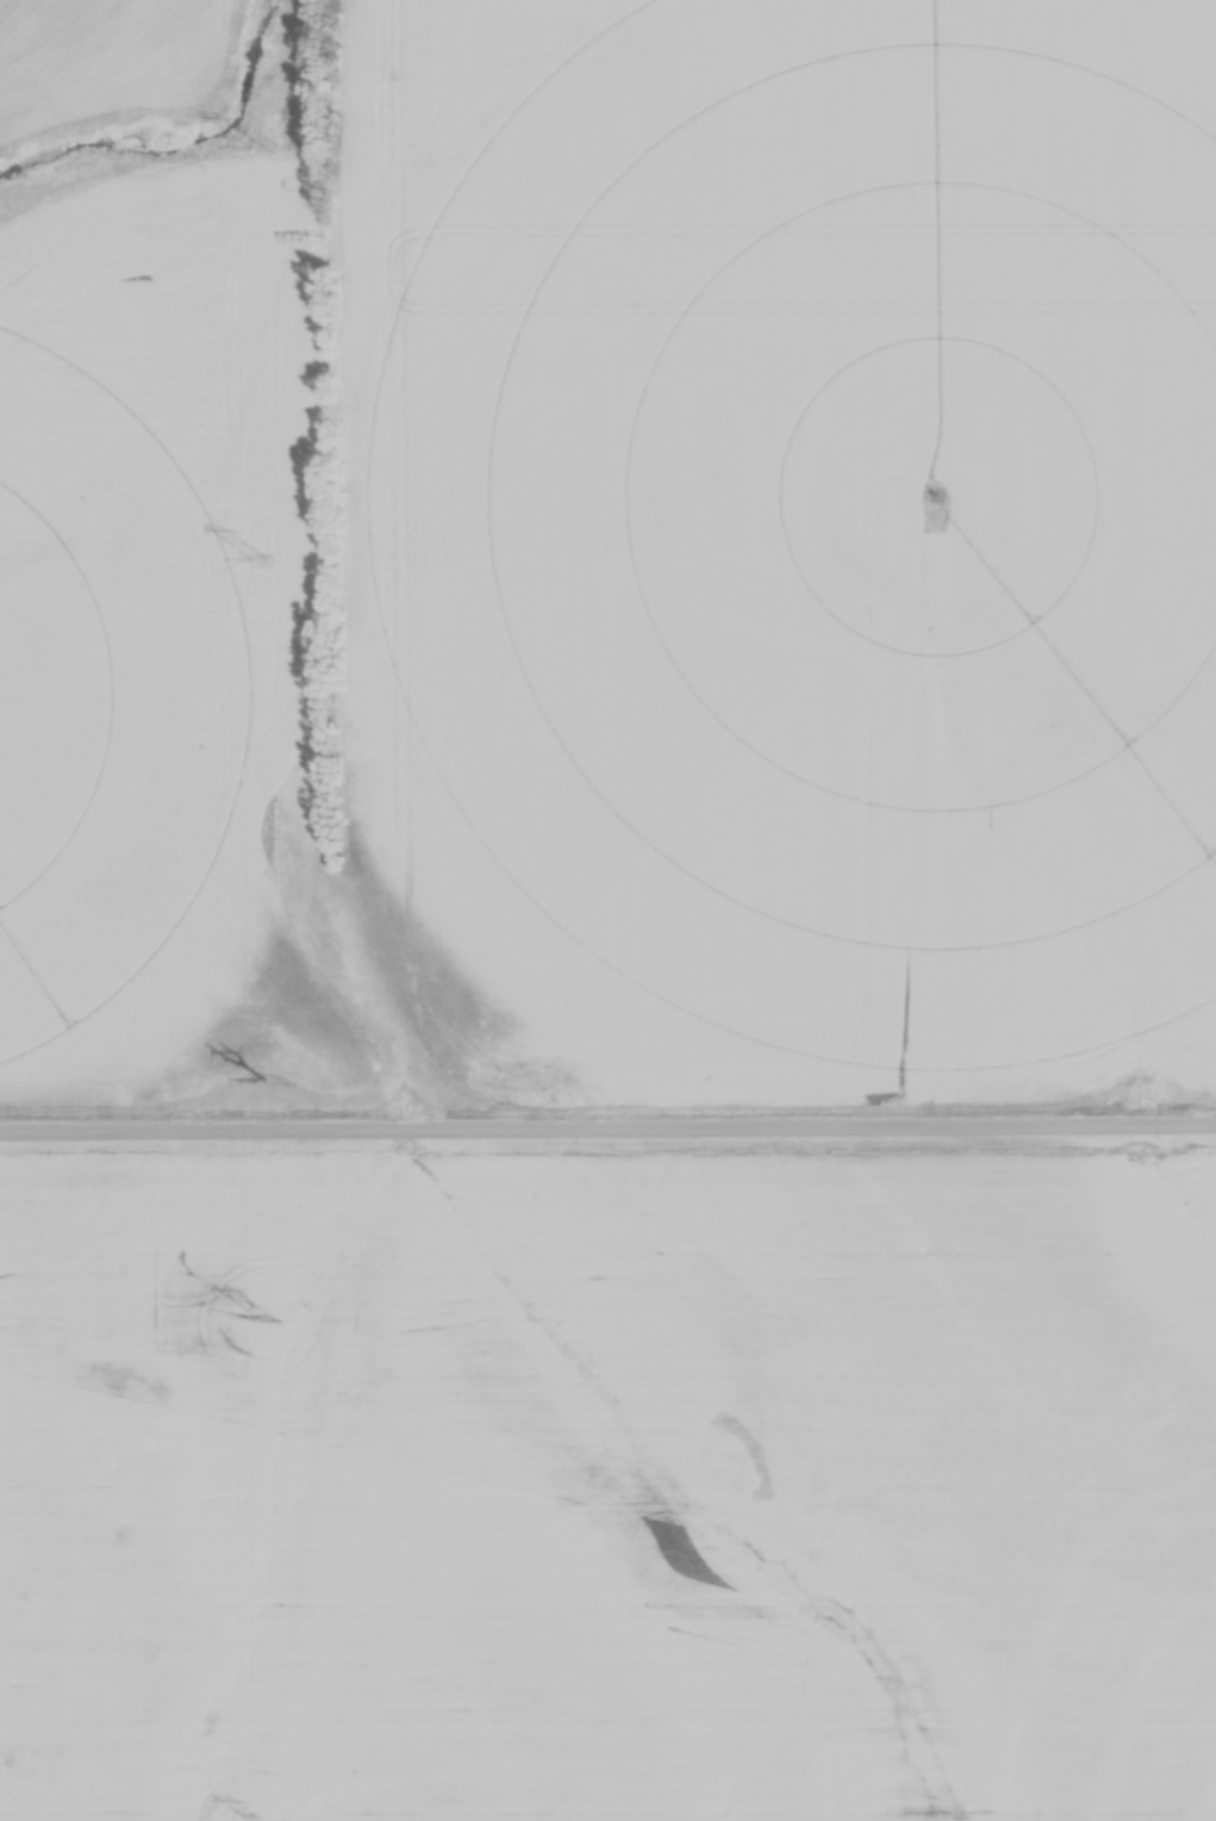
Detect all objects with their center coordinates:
power tower: (254, 148)
power tower: (260, 560)
power tower: (264, 1080)
road: (607, 1133)
power tower: (264, 1319)

